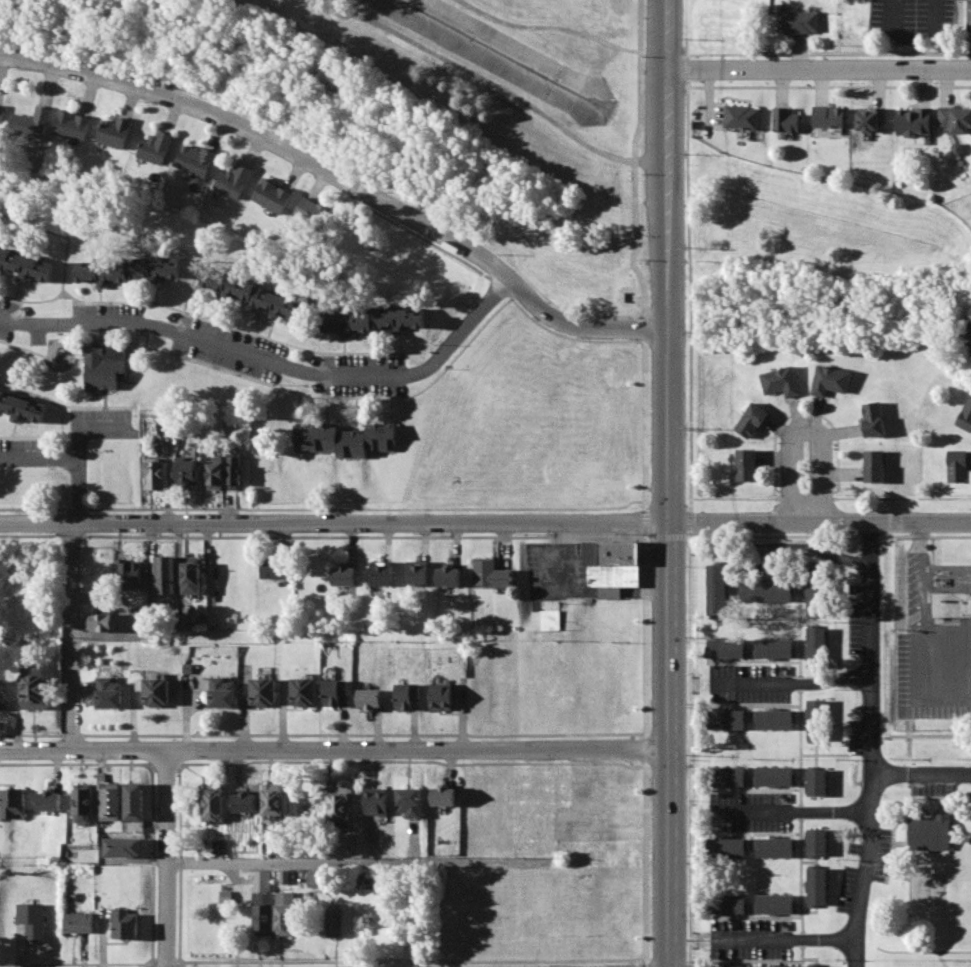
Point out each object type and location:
building: (968, 15)
building: (797, 21)
road: (549, 26)
road: (819, 67)
road: (475, 75)
park: (426, 110)
building: (829, 116)
building: (742, 117)
building: (2, 118)
building: (870, 119)
building: (955, 119)
building: (786, 120)
building: (915, 123)
building: (32, 124)
building: (73, 125)
building: (114, 132)
road: (267, 135)
building: (156, 147)
building: (195, 160)
building: (233, 181)
building: (272, 196)
building: (311, 212)
road: (668, 261)
building: (26, 264)
building: (128, 269)
building: (253, 293)
building: (373, 320)
road: (581, 325)
road: (273, 357)
building: (104, 365)
building: (831, 380)
building: (782, 381)
building: (21, 406)
building: (966, 416)
building: (753, 418)
building: (874, 420)
road: (89, 427)
road: (807, 431)
building: (345, 438)
road: (38, 456)
building: (746, 464)
building: (875, 465)
building: (959, 465)
building: (233, 469)
building: (153, 471)
building: (213, 472)
building: (184, 474)
road: (645, 481)
road: (78, 491)
road: (36, 523)
road: (371, 523)
road: (820, 523)
road: (920, 536)
road: (804, 548)
parking lot: (762, 555)
building: (610, 566)
building: (274, 568)
building: (381, 572)
building: (417, 572)
road: (564, 572)
building: (130, 574)
building: (165, 574)
building: (490, 574)
building: (189, 575)
building: (448, 575)
building: (343, 576)
building: (718, 587)
building: (950, 589)
building: (767, 591)
road: (609, 593)
road: (645, 593)
building: (816, 593)
road: (922, 615)
building: (550, 620)
building: (100, 621)
building: (184, 621)
road: (73, 636)
parking lot: (916, 644)
building: (727, 647)
building: (773, 647)
building: (816, 647)
road: (799, 681)
parking lot: (749, 683)
building: (35, 690)
building: (108, 691)
building: (156, 691)
building: (221, 691)
building: (304, 691)
building: (263, 692)
building: (332, 692)
building: (2, 695)
building: (406, 696)
building: (441, 696)
building: (370, 698)
building: (728, 719)
building: (776, 719)
building: (817, 719)
road: (689, 730)
road: (930, 734)
road: (909, 744)
road: (670, 745)
road: (871, 745)
road: (335, 748)
road: (921, 773)
building: (776, 775)
building: (727, 776)
building: (817, 782)
building: (444, 796)
building: (110, 797)
building: (273, 799)
building: (49, 801)
building: (85, 801)
building: (134, 801)
building: (376, 801)
building: (13, 802)
building: (214, 802)
building: (245, 802)
building: (409, 802)
building: (340, 807)
parking lot: (750, 811)
road: (796, 811)
building: (930, 831)
building: (354, 842)
building: (817, 842)
building: (281, 845)
building: (122, 846)
building: (219, 847)
building: (727, 847)
building: (775, 847)
road: (167, 857)
road: (358, 862)
park: (921, 871)
building: (286, 876)
building: (316, 877)
building: (262, 881)
park: (969, 882)
building: (817, 886)
building: (226, 896)
building: (727, 903)
building: (776, 903)
building: (286, 914)
building: (264, 919)
building: (33, 920)
building: (336, 921)
building: (78, 922)
building: (125, 923)
parking lot: (750, 939)
road: (789, 940)
building: (728, 966)
building: (776, 966)
building: (817, 966)

